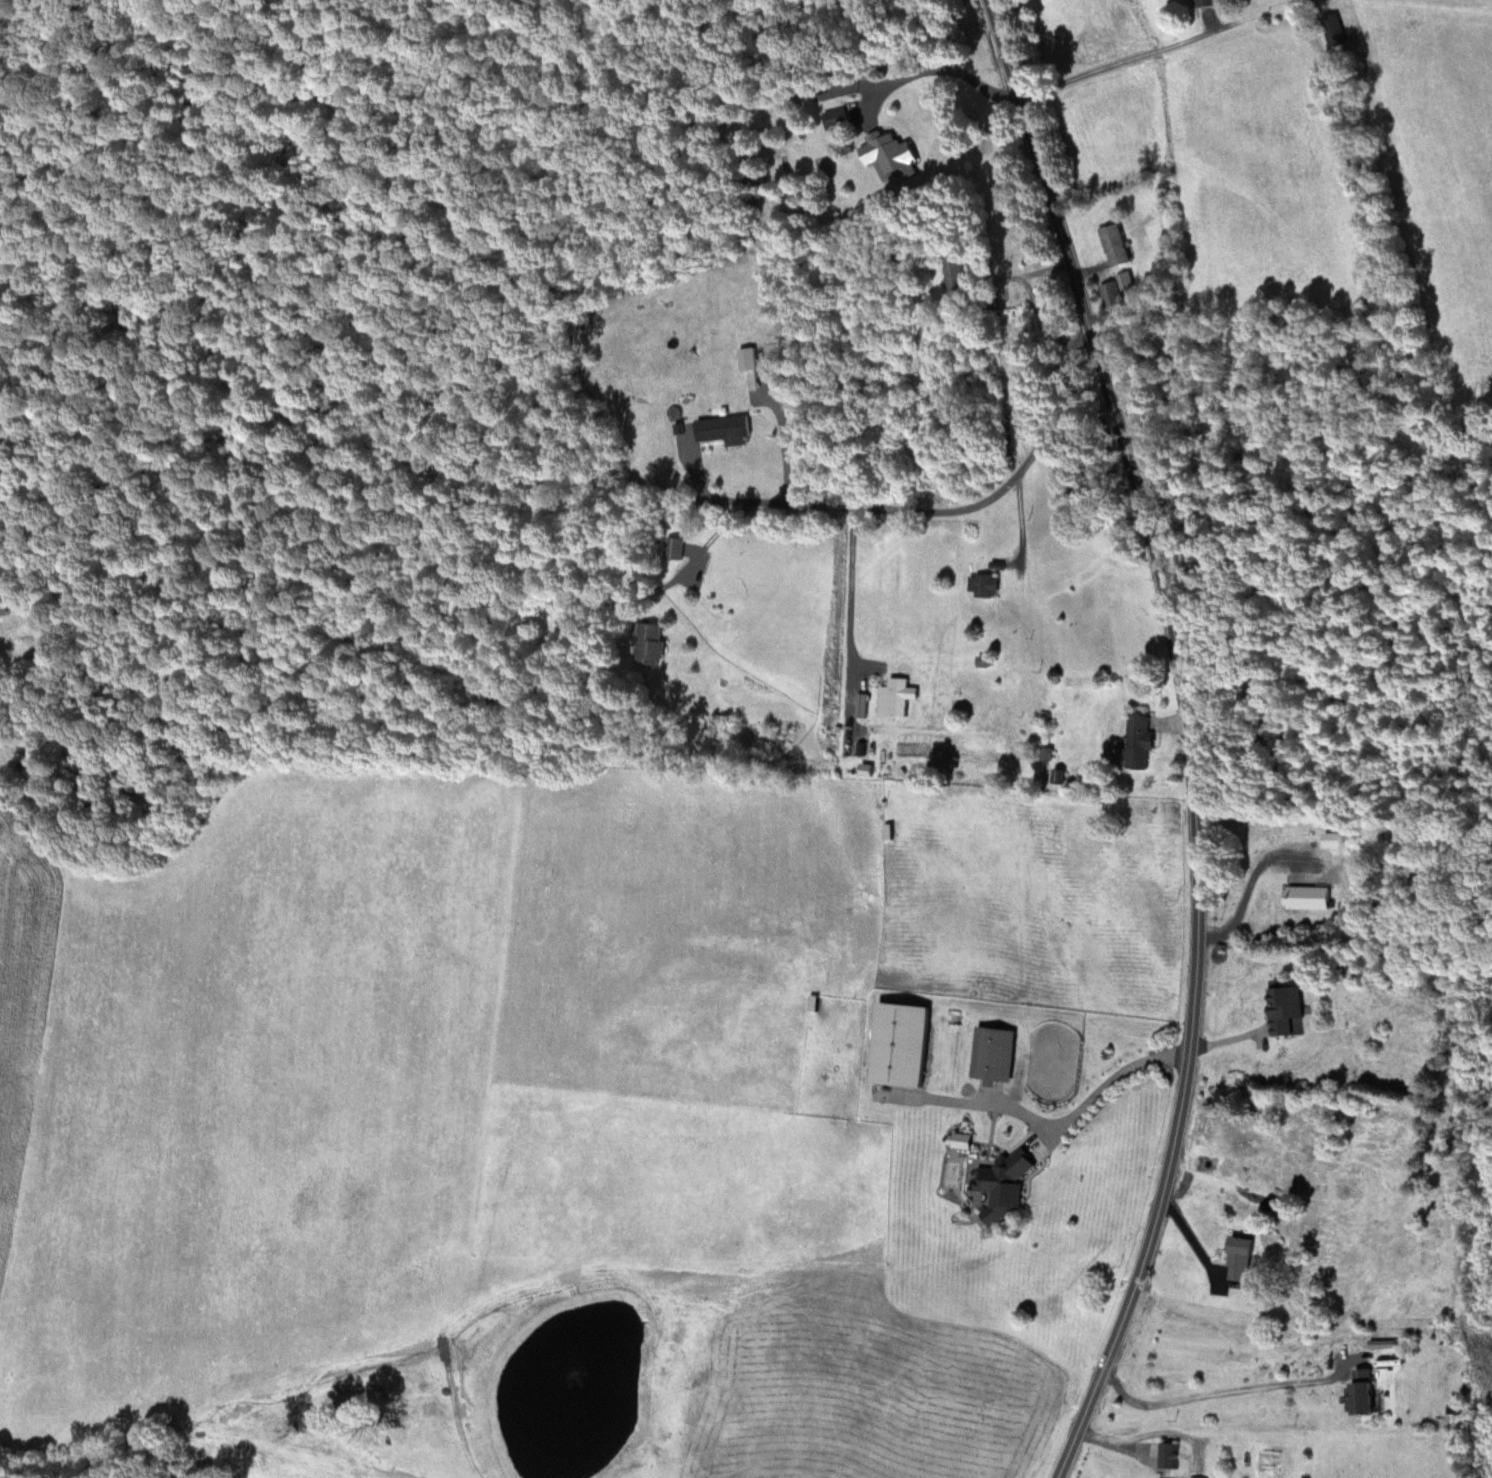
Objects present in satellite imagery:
building: (1205, 2)
road: (562, 8)
building: (1333, 29)
building: (835, 119)
building: (891, 151)
building: (1115, 244)
building: (956, 271)
building: (1110, 294)
building: (747, 357)
building: (722, 427)
road: (1490, 458)
building: (674, 547)
building: (983, 584)
building: (649, 643)
building: (899, 695)
road: (1189, 738)
building: (1139, 741)
building: (1306, 896)
building: (812, 1002)
building: (1286, 1011)
building: (902, 1043)
building: (993, 1053)
building: (1000, 1182)
building: (1239, 1258)
building: (1364, 1392)
building: (1167, 1454)

